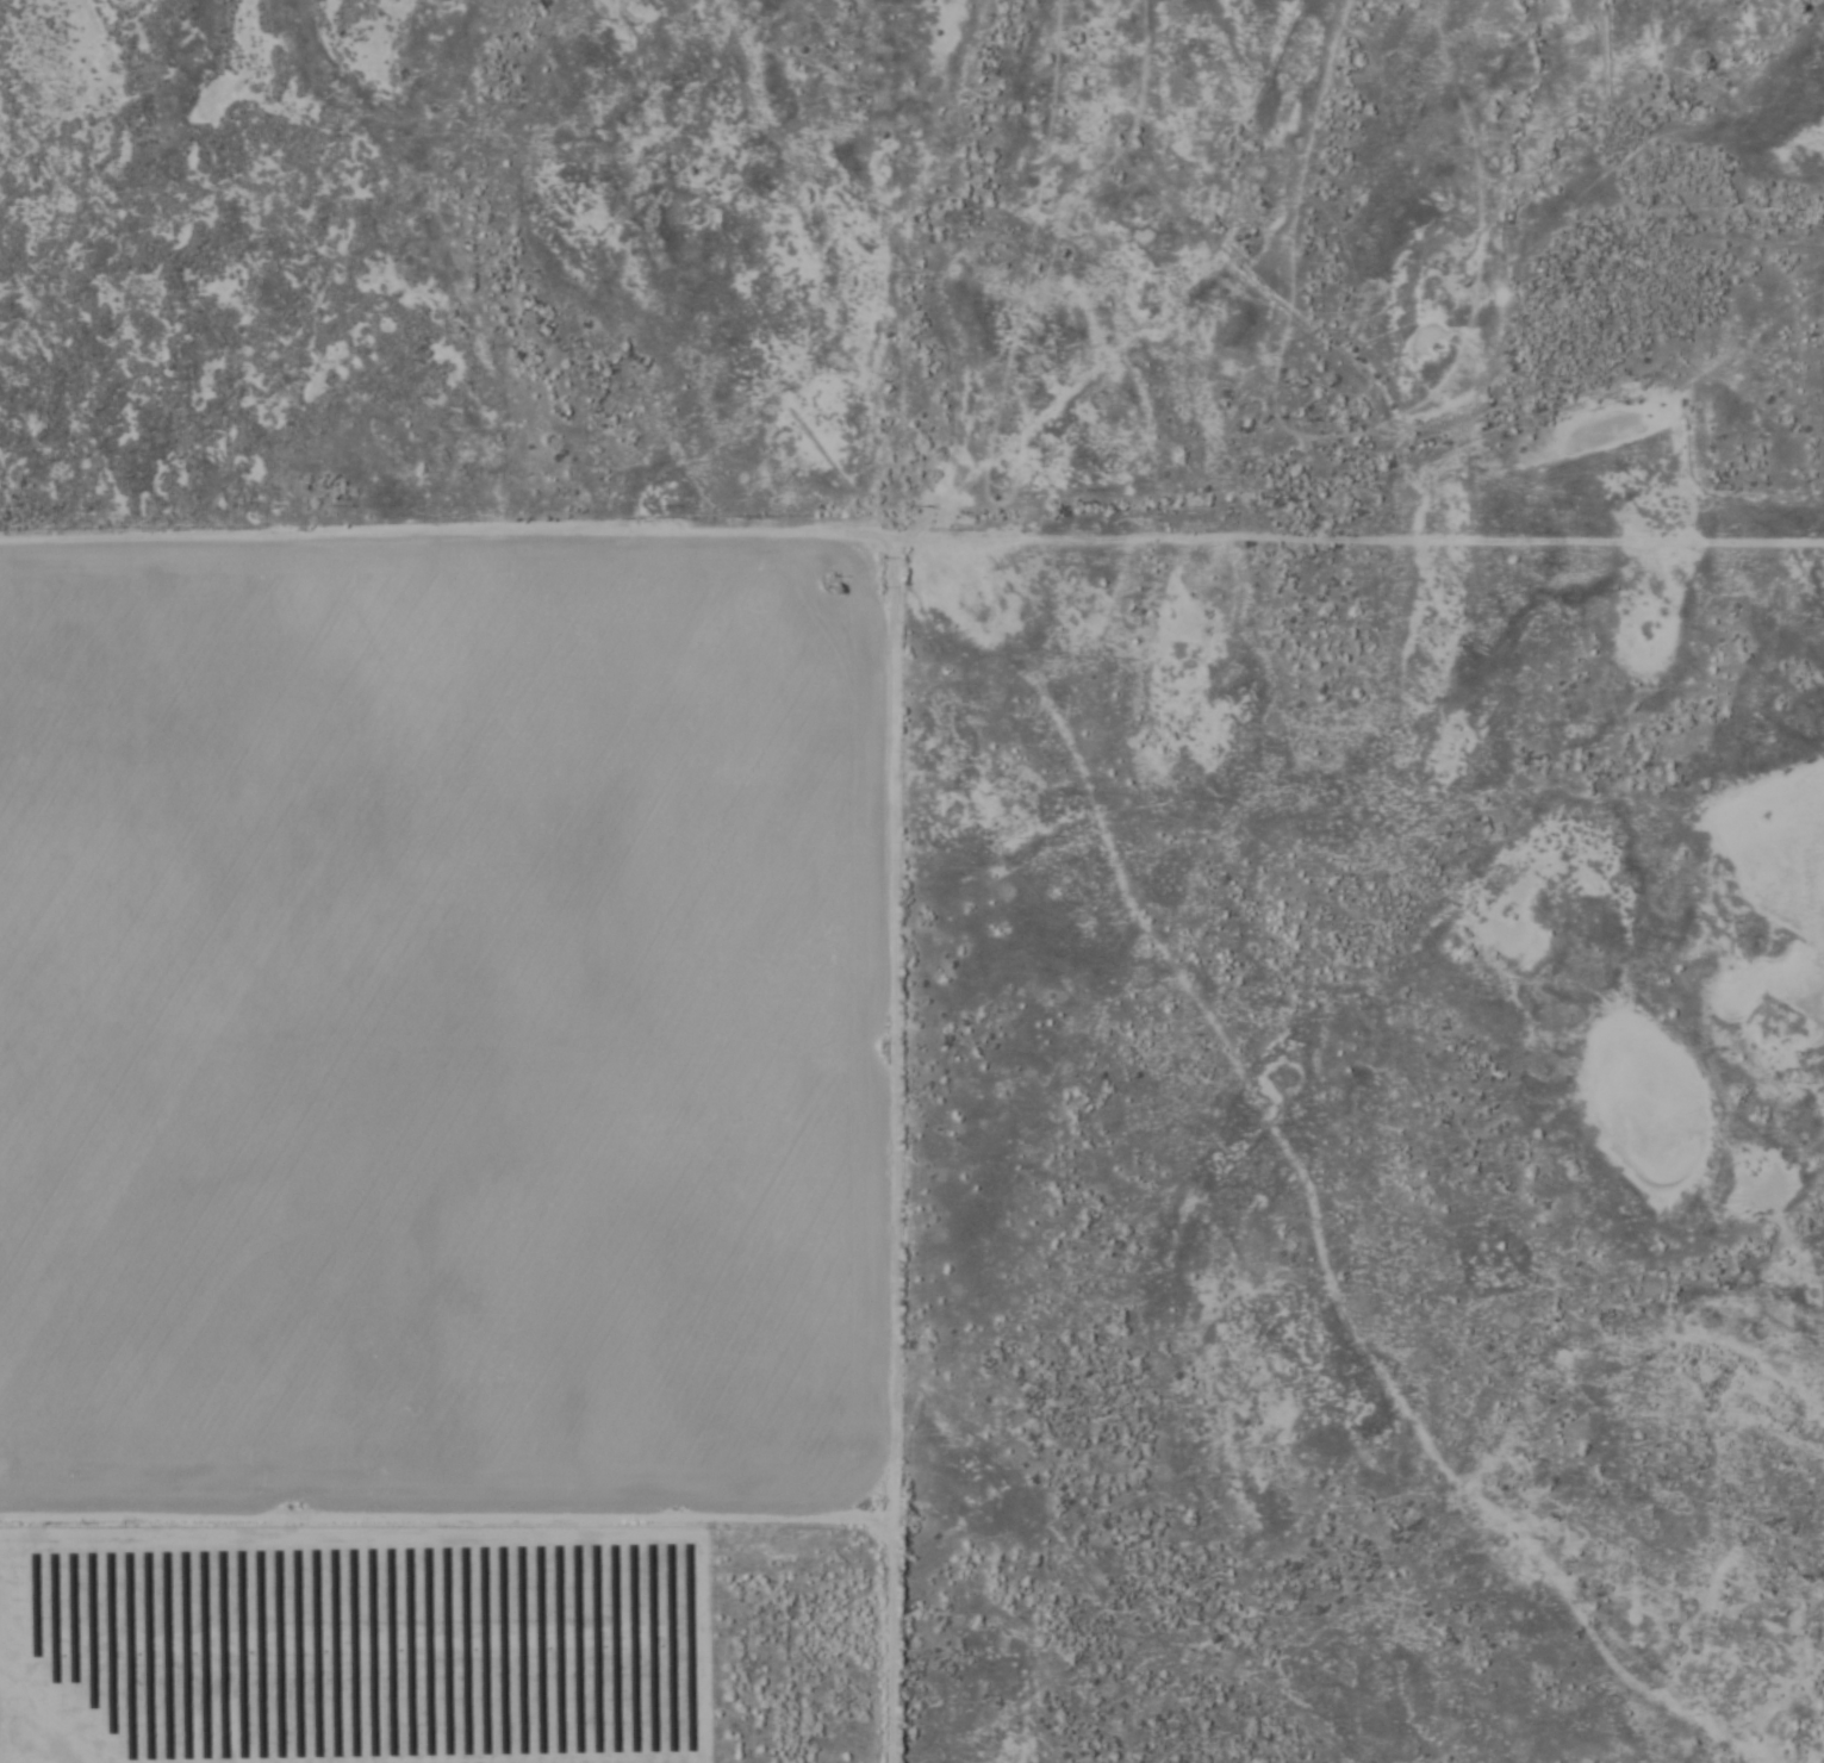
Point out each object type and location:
solar farm: (380, 1637)

